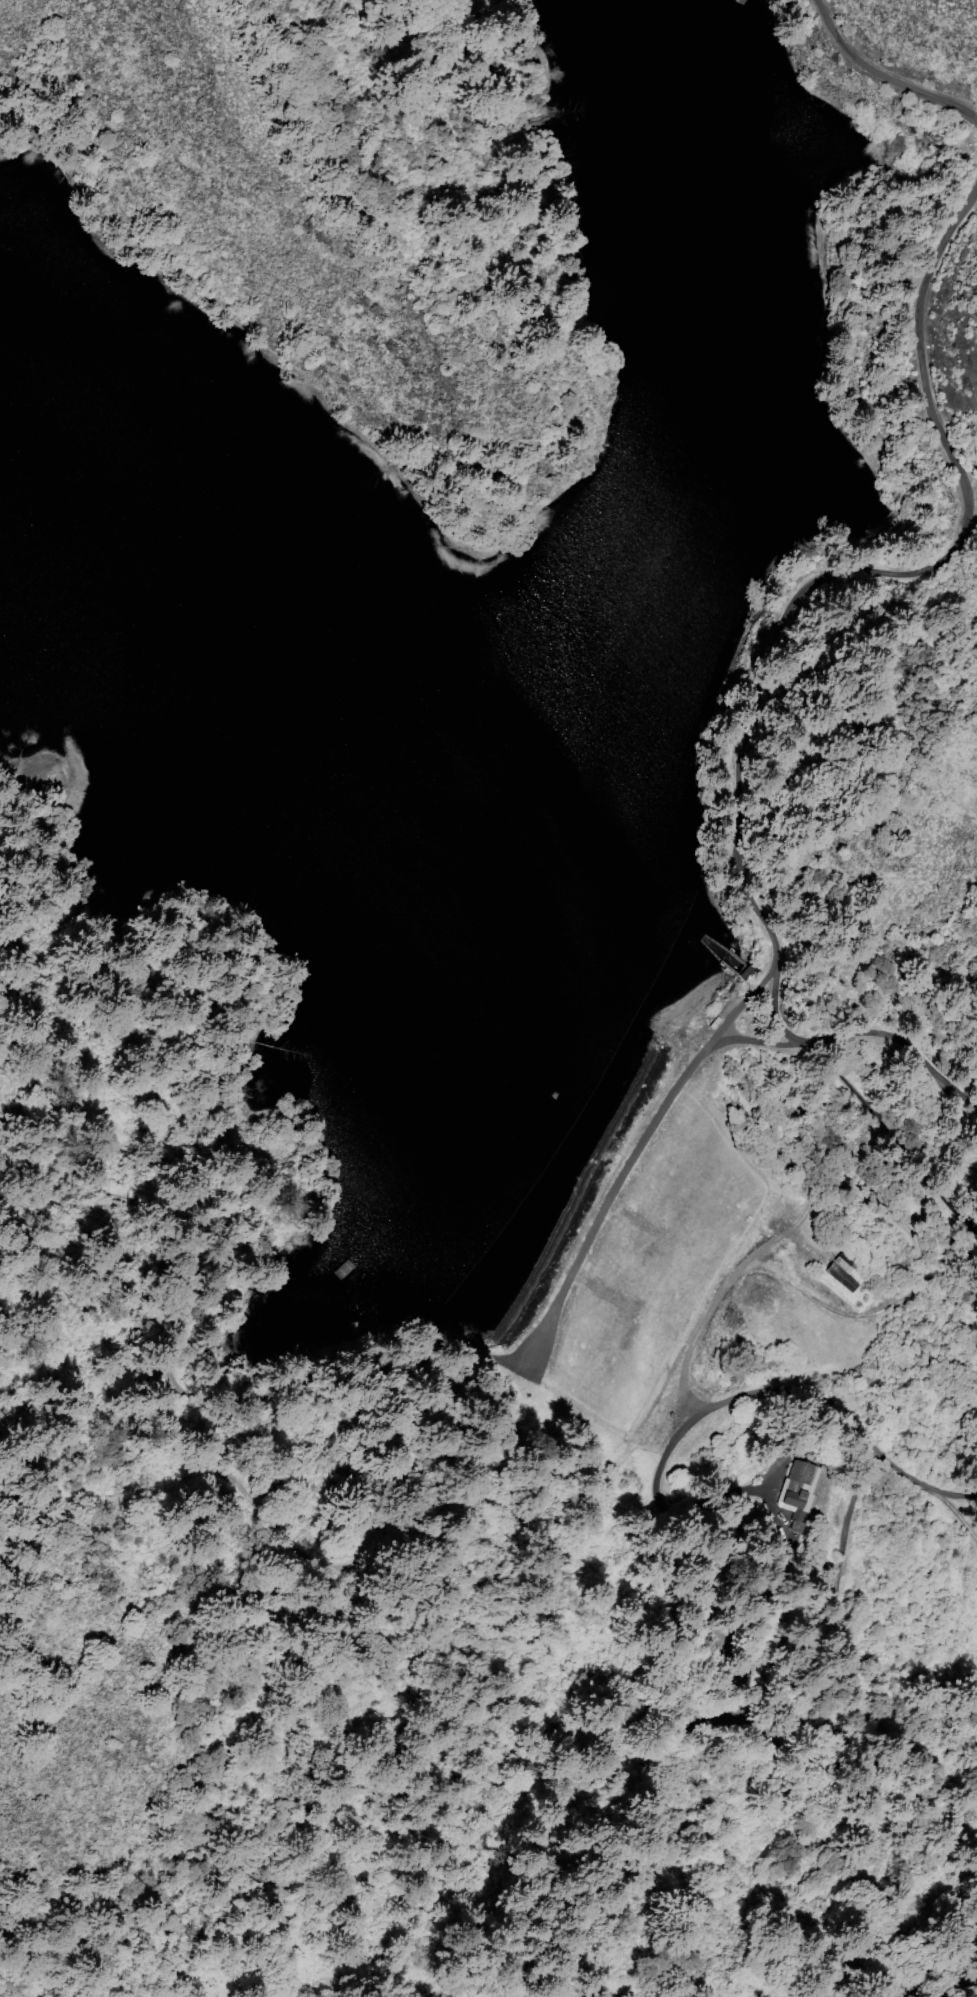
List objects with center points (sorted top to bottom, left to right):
road: (890, 70)
road: (834, 574)
dam: (626, 1101)
building: (843, 1261)
building: (841, 1276)
road: (718, 1301)
road: (821, 1302)
road: (452, 1354)
road: (821, 1400)
building: (798, 1488)
building: (787, 1549)

